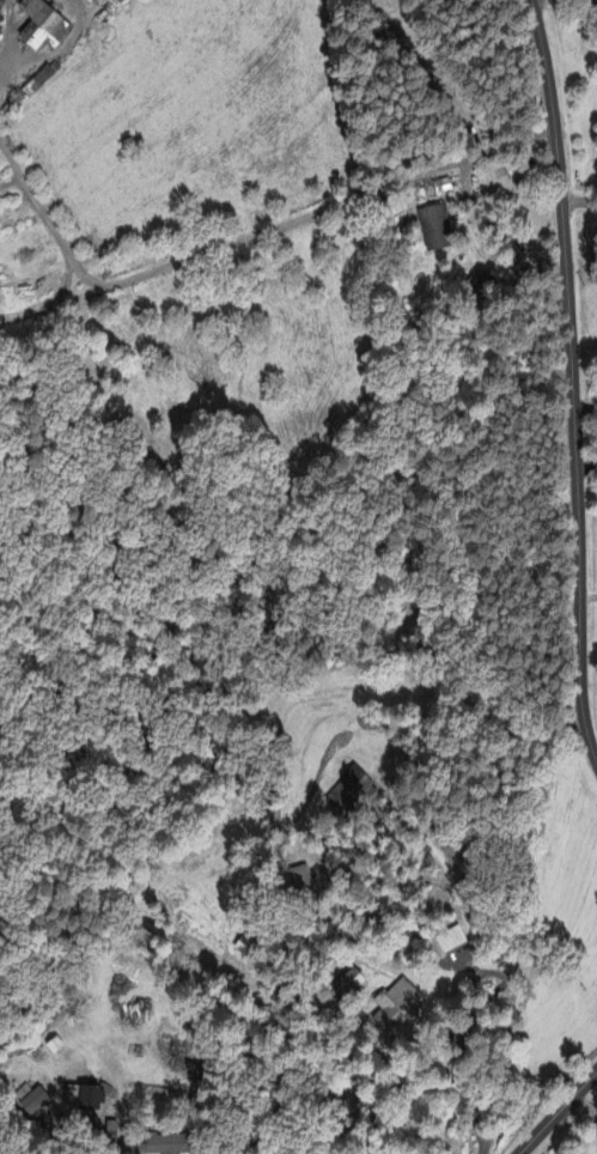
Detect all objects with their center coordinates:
building: (91, 1)
building: (43, 26)
road: (59, 53)
building: (38, 83)
road: (8, 154)
road: (579, 194)
road: (499, 229)
building: (437, 230)
road: (261, 232)
building: (482, 286)
road: (53, 306)
road: (573, 378)
building: (353, 790)
building: (455, 861)
building: (303, 882)
building: (451, 941)
building: (245, 947)
road: (501, 980)
building: (348, 984)
building: (396, 1007)
building: (55, 1046)
building: (84, 1099)
building: (35, 1103)
road: (585, 1103)
road: (559, 1110)
building: (166, 1144)
road: (481, 1153)

